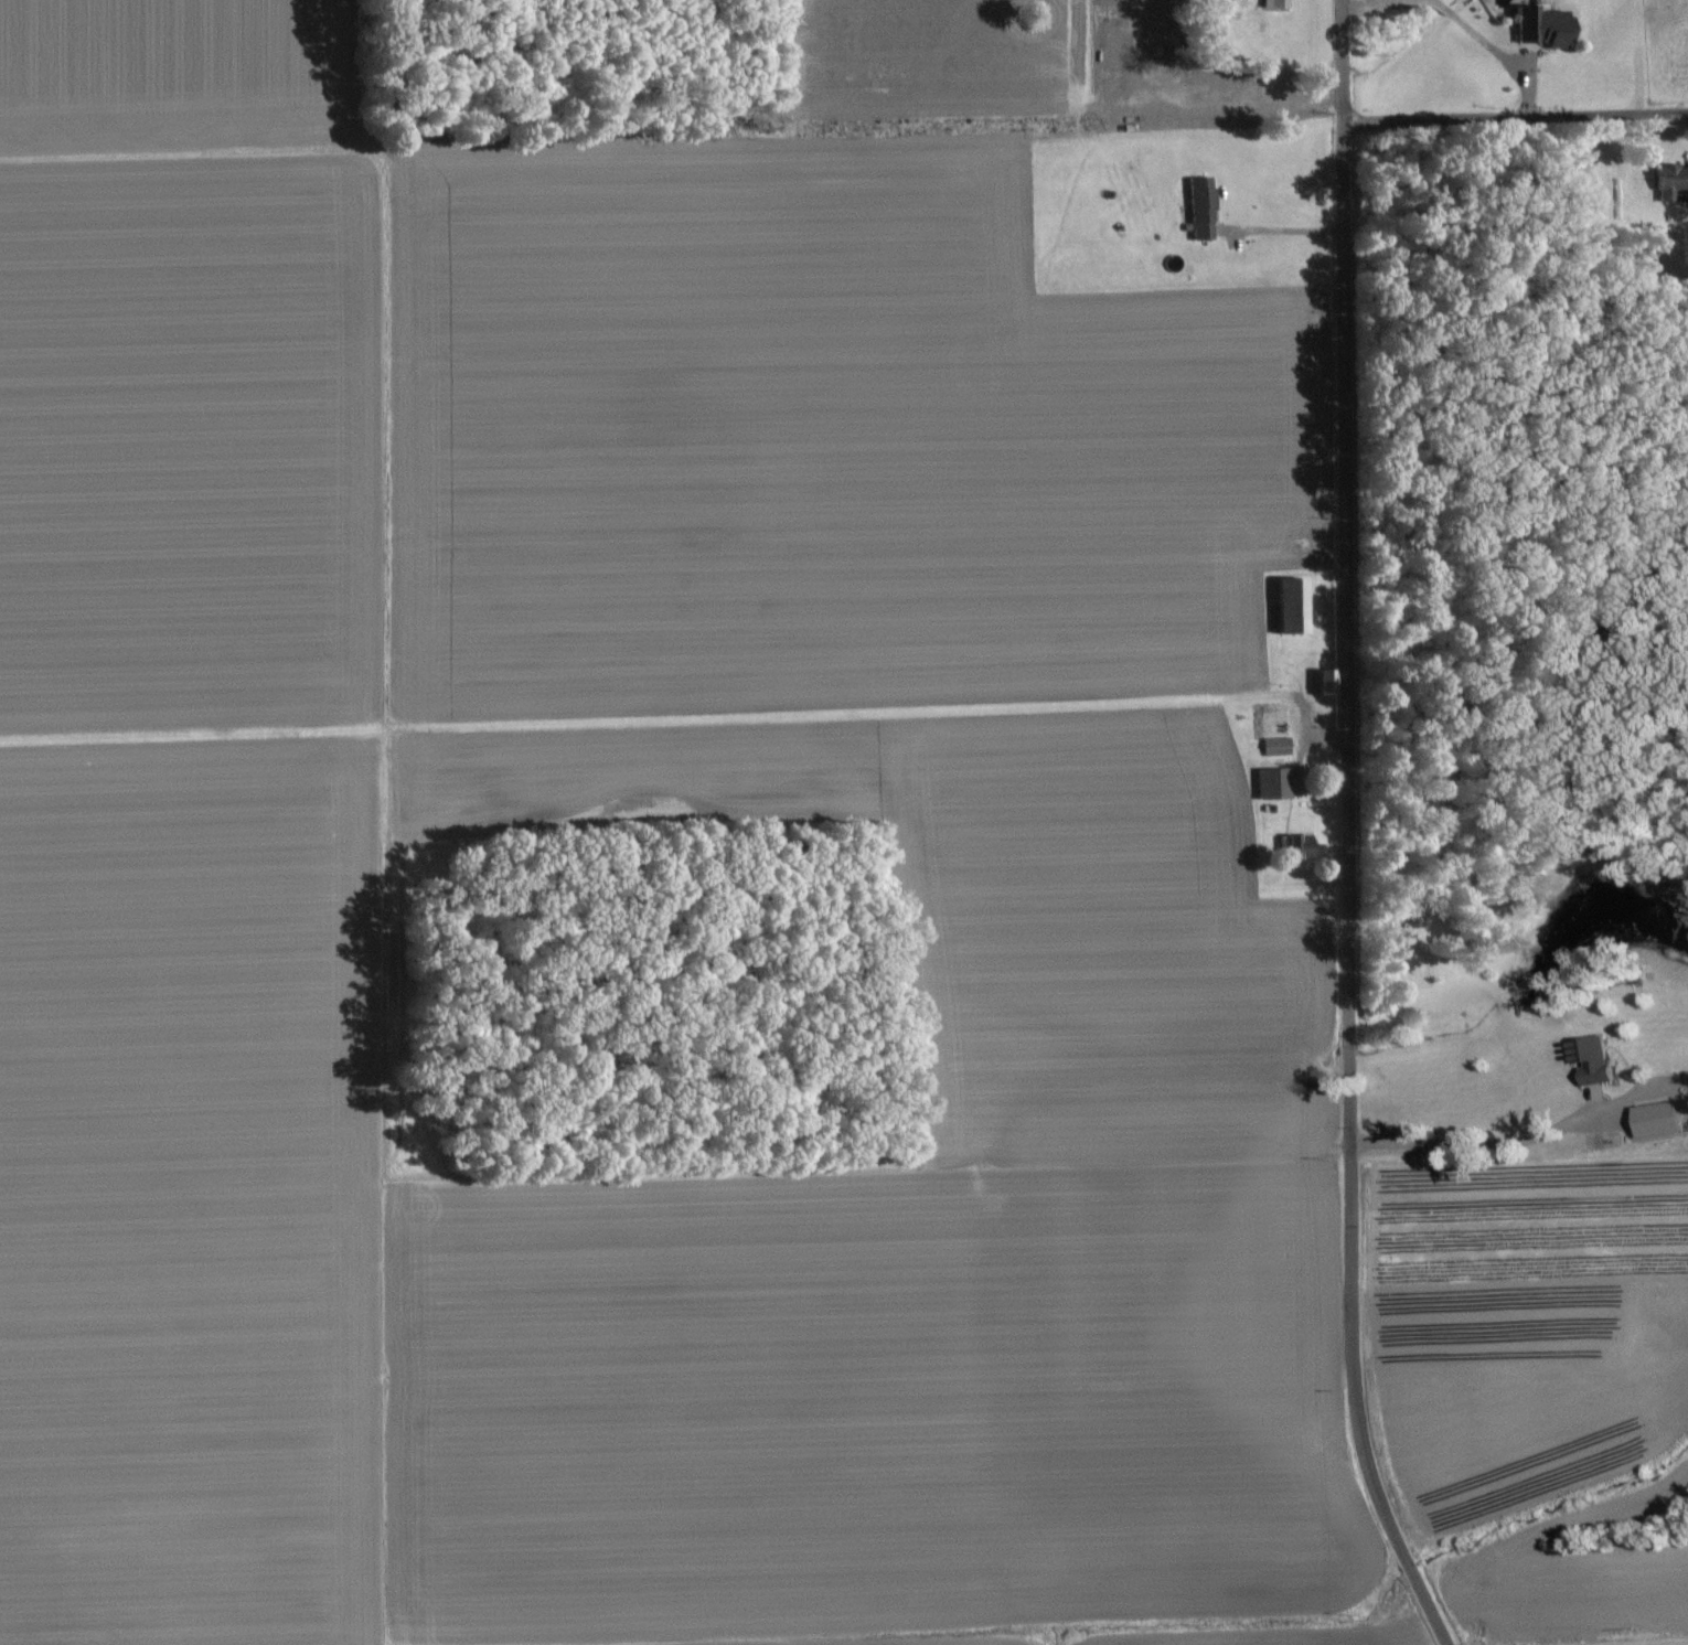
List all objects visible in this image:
building: (1271, 4)
road: (1456, 24)
building: (1539, 29)
road: (1193, 105)
road: (1516, 119)
building: (1669, 182)
building: (1197, 211)
building: (1286, 608)
building: (1320, 685)
building: (1272, 749)
building: (1270, 787)
road: (1346, 831)
building: (1293, 850)
building: (1586, 1059)
building: (1654, 1119)
road: (1486, 1145)

